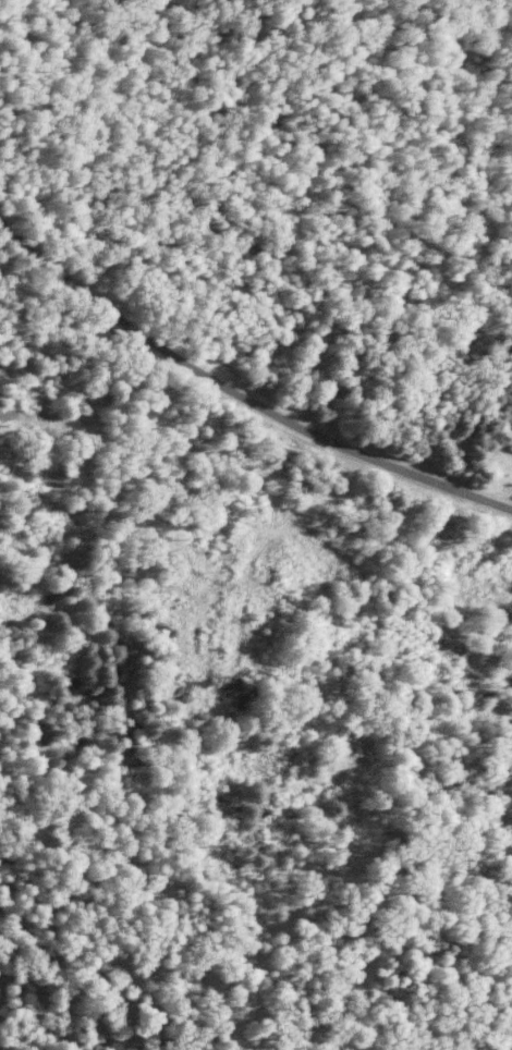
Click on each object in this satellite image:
road: (237, 395)

